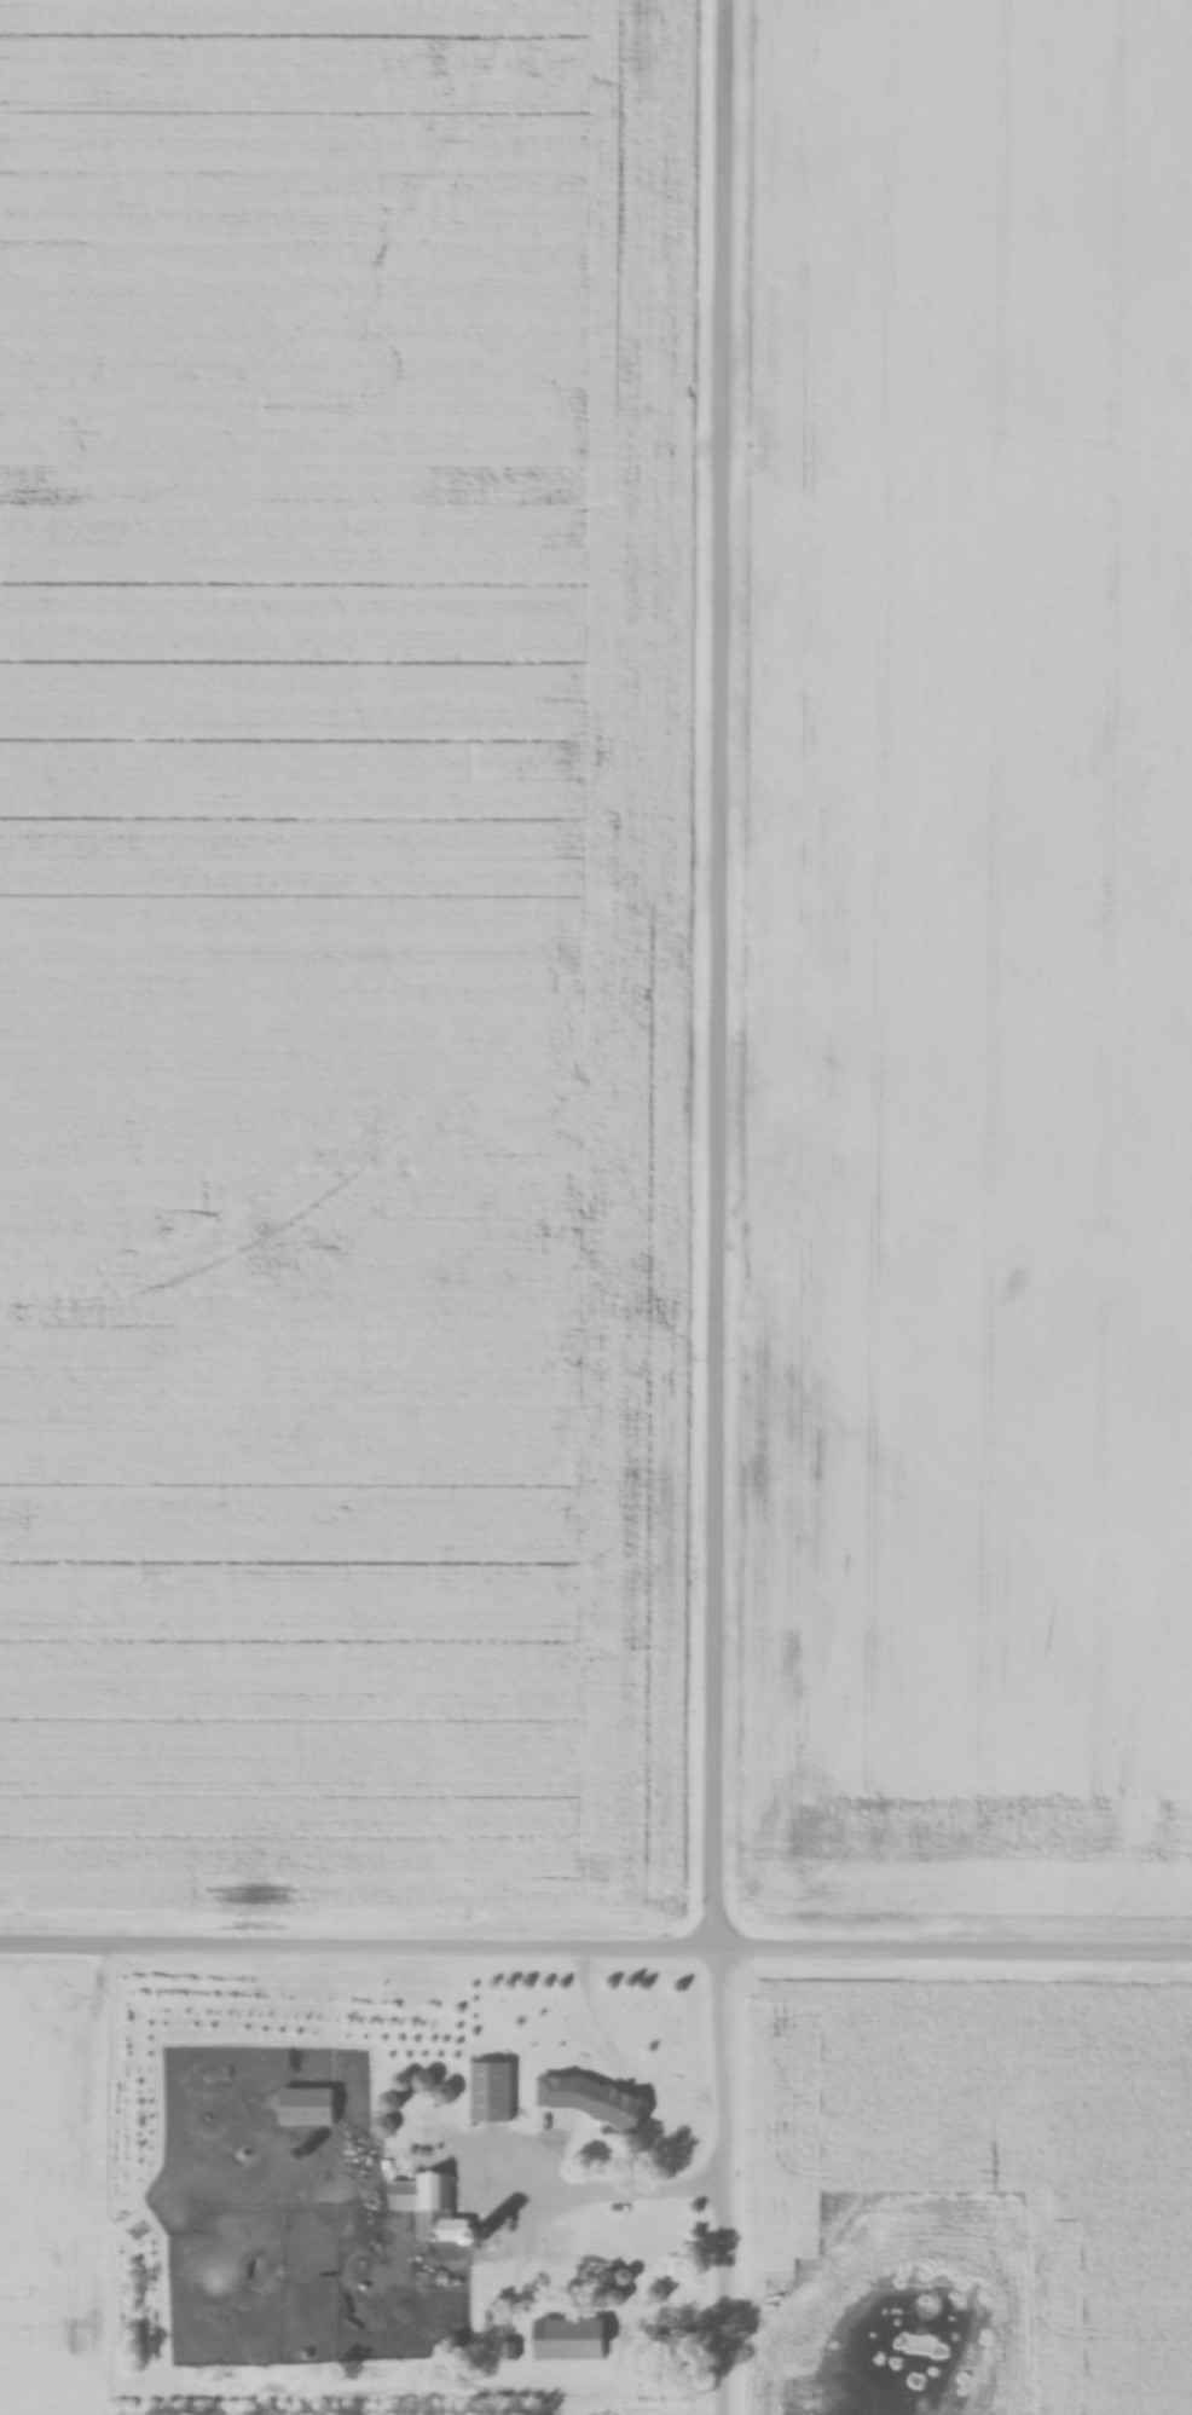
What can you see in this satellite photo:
road: (723, 1207)
road: (595, 1953)
building: (422, 2082)
building: (491, 2099)
building: (388, 2101)
building: (308, 2113)
building: (569, 2131)
building: (428, 2207)
building: (571, 2347)

